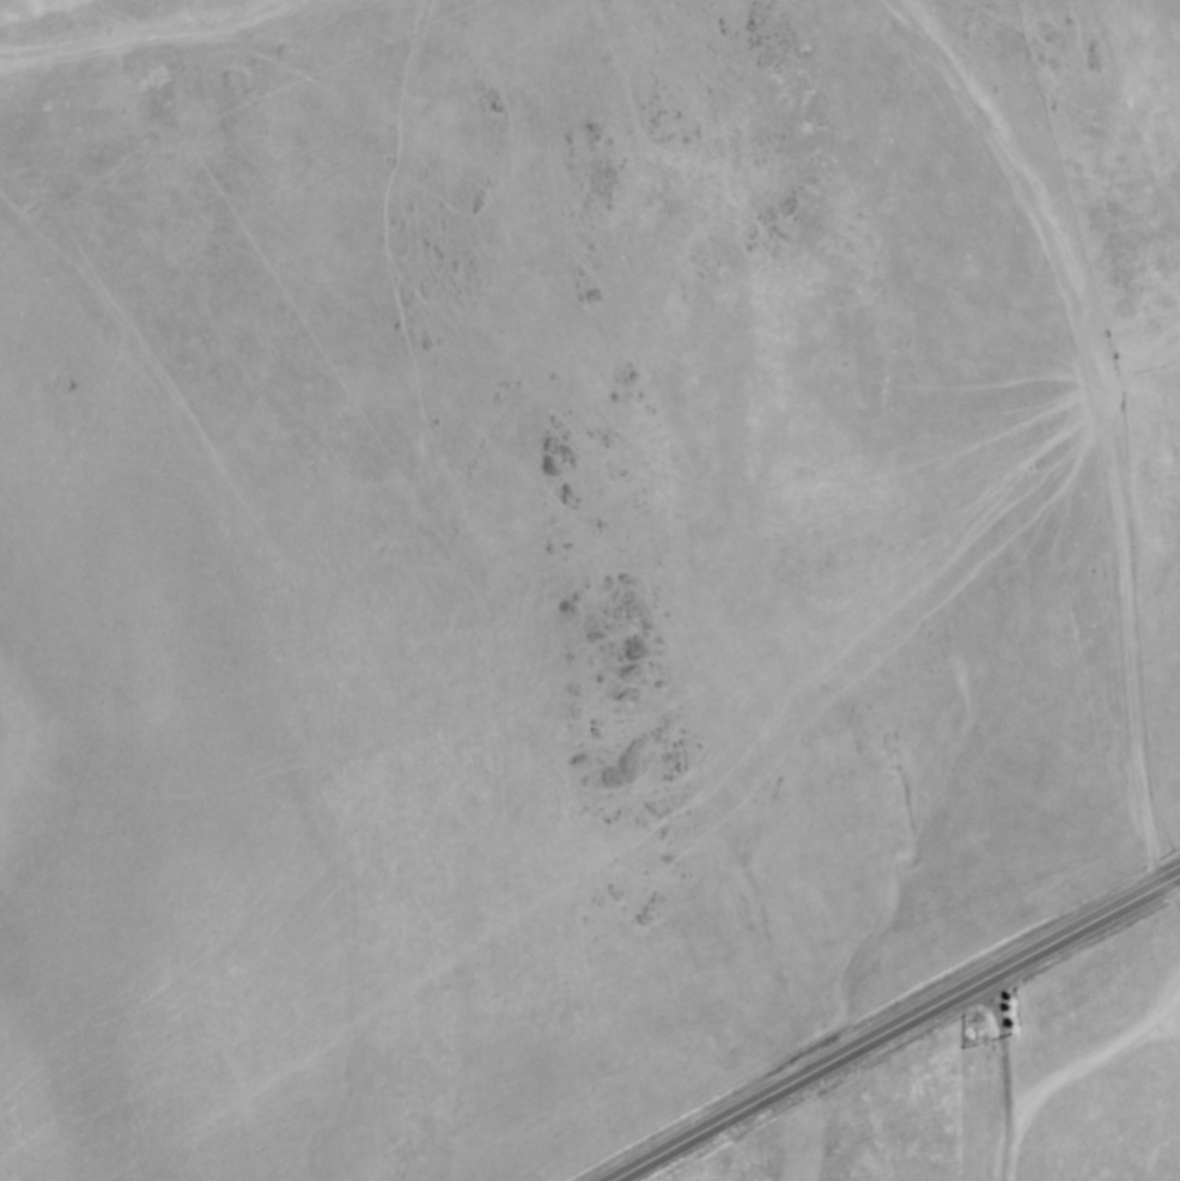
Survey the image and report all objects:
road: (156, 42)
road: (1091, 419)
road: (896, 1028)
road: (1004, 1079)

